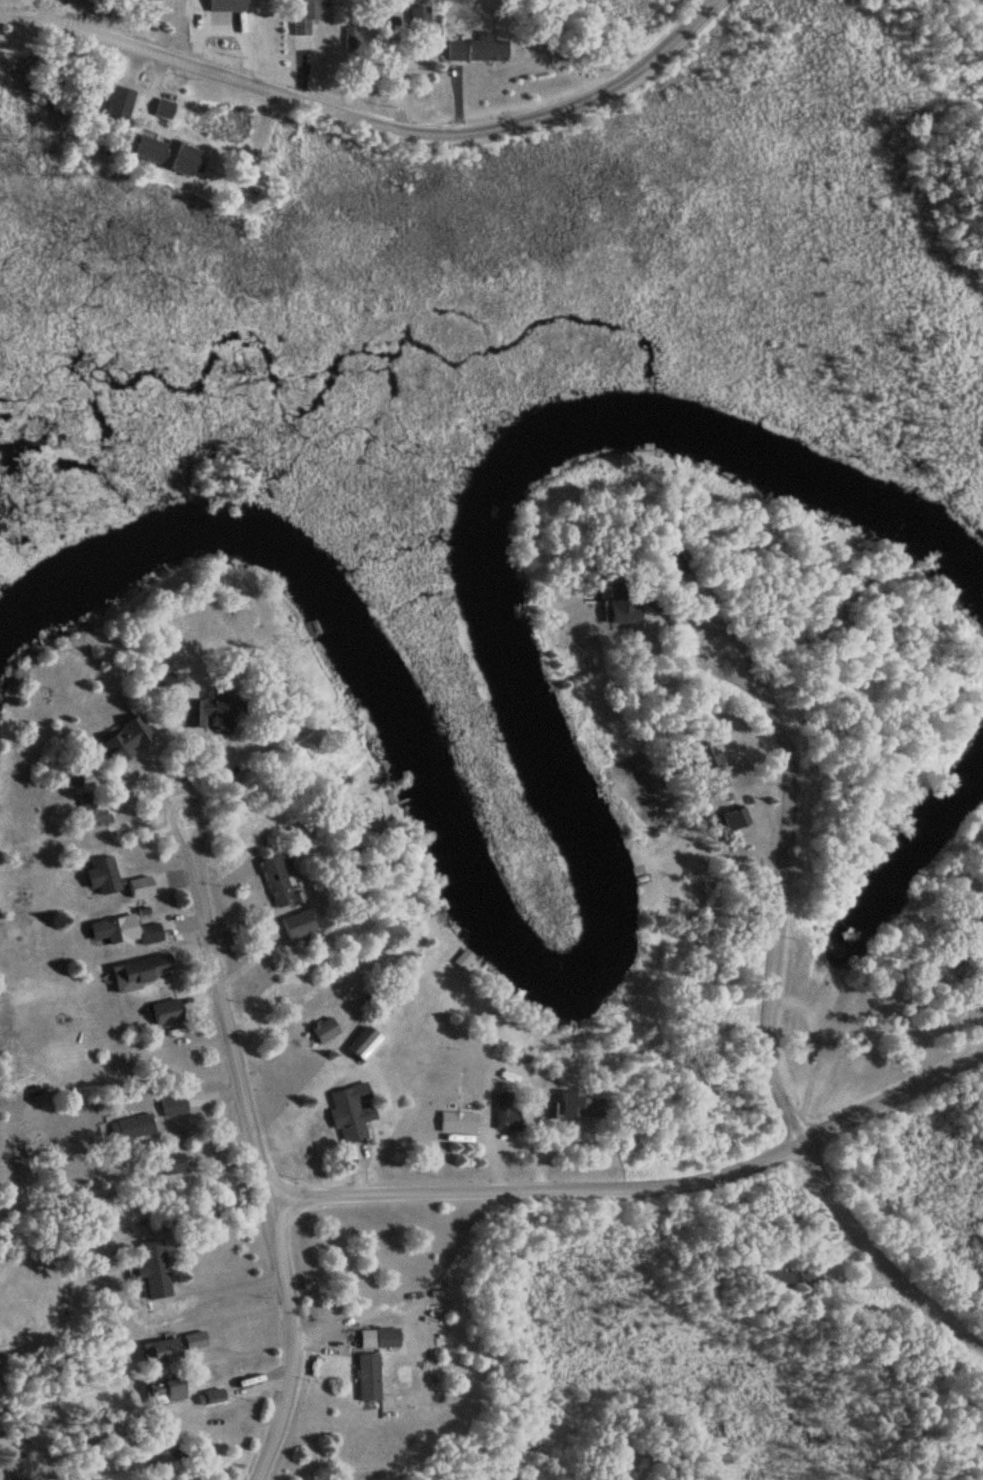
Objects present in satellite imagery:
building: (228, 4)
building: (420, 15)
building: (307, 17)
building: (456, 49)
building: (489, 49)
building: (164, 109)
road: (371, 118)
building: (152, 149)
building: (215, 711)
building: (128, 740)
building: (71, 778)
building: (90, 809)
building: (101, 874)
building: (279, 881)
building: (976, 922)
building: (299, 924)
building: (110, 930)
building: (150, 934)
building: (464, 959)
building: (143, 972)
road: (770, 1002)
building: (168, 1012)
building: (326, 1030)
building: (365, 1043)
road: (793, 1077)
building: (583, 1105)
building: (174, 1106)
building: (352, 1112)
building: (506, 1112)
building: (459, 1122)
road: (254, 1128)
building: (127, 1129)
building: (174, 1165)
road: (642, 1188)
building: (155, 1269)
building: (776, 1277)
building: (812, 1277)
building: (388, 1338)
building: (196, 1341)
building: (162, 1352)
building: (369, 1378)
building: (170, 1391)
building: (213, 1396)

